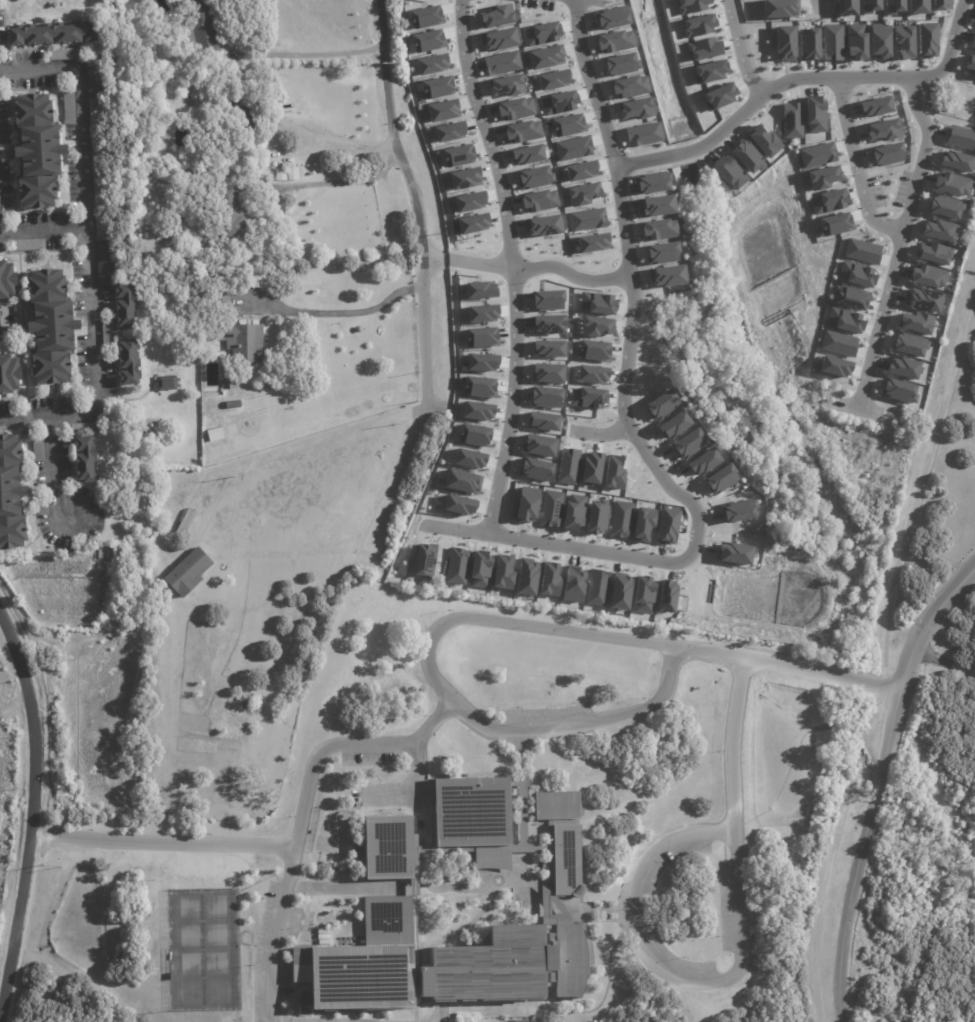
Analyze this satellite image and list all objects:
road: (819, 3)
building: (940, 4)
building: (690, 6)
building: (869, 6)
building: (893, 6)
building: (916, 6)
building: (844, 7)
building: (779, 8)
building: (497, 16)
building: (425, 17)
building: (610, 17)
building: (974, 18)
building: (698, 25)
building: (202, 27)
building: (541, 33)
building: (54, 36)
building: (498, 39)
building: (972, 39)
building: (879, 40)
building: (925, 40)
building: (427, 41)
building: (614, 41)
building: (903, 41)
building: (832, 42)
building: (855, 42)
building: (784, 43)
building: (807, 43)
building: (703, 49)
building: (974, 49)
road: (740, 50)
road: (315, 53)
building: (64, 54)
building: (545, 57)
building: (501, 63)
building: (431, 64)
building: (620, 64)
building: (970, 65)
building: (709, 71)
building: (94, 78)
building: (552, 79)
road: (850, 80)
building: (506, 85)
building: (628, 86)
building: (436, 87)
building: (169, 92)
building: (718, 96)
building: (558, 103)
building: (875, 106)
building: (68, 107)
building: (515, 109)
building: (635, 109)
building: (247, 110)
building: (442, 110)
building: (814, 114)
building: (791, 120)
building: (567, 125)
building: (883, 129)
building: (448, 131)
building: (522, 131)
building: (643, 134)
building: (960, 137)
building: (573, 148)
building: (38, 150)
road: (686, 152)
building: (527, 154)
building: (816, 154)
building: (886, 154)
building: (457, 155)
road: (642, 161)
building: (955, 161)
road: (856, 167)
building: (580, 170)
building: (172, 171)
building: (293, 174)
building: (280, 175)
building: (534, 177)
building: (822, 177)
building: (464, 178)
building: (651, 182)
building: (951, 184)
building: (582, 193)
building: (538, 200)
building: (469, 201)
building: (828, 201)
road: (415, 202)
building: (655, 206)
building: (944, 207)
building: (230, 214)
building: (586, 219)
building: (472, 223)
building: (834, 224)
building: (542, 225)
road: (43, 228)
building: (659, 229)
building: (939, 230)
building: (592, 243)
road: (900, 243)
building: (29, 244)
road: (86, 249)
building: (861, 251)
building: (661, 253)
building: (933, 253)
road: (432, 256)
road: (448, 259)
building: (105, 262)
road: (482, 265)
road: (512, 265)
building: (855, 274)
building: (666, 275)
building: (927, 276)
road: (571, 277)
building: (7, 279)
building: (257, 281)
building: (479, 290)
road: (631, 294)
building: (222, 296)
building: (850, 297)
building: (922, 298)
building: (596, 303)
building: (126, 305)
road: (342, 311)
building: (481, 313)
building: (844, 320)
building: (915, 322)
building: (51, 326)
building: (595, 326)
building: (107, 332)
building: (481, 337)
building: (838, 343)
building: (244, 344)
building: (909, 344)
building: (548, 348)
building: (592, 350)
building: (129, 361)
building: (481, 362)
building: (834, 366)
building: (902, 367)
building: (547, 373)
building: (591, 373)
building: (9, 374)
building: (167, 382)
building: (228, 384)
building: (479, 387)
building: (898, 391)
building: (545, 396)
building: (586, 397)
building: (661, 404)
building: (232, 405)
building: (477, 410)
building: (542, 421)
building: (673, 424)
building: (87, 428)
road: (601, 434)
building: (215, 435)
building: (473, 435)
building: (539, 445)
building: (38, 450)
building: (86, 458)
building: (468, 458)
building: (703, 461)
building: (567, 466)
building: (590, 468)
building: (613, 471)
building: (720, 479)
building: (462, 481)
building: (11, 493)
building: (526, 504)
building: (459, 505)
building: (549, 508)
building: (42, 509)
building: (738, 509)
building: (573, 512)
road: (51, 516)
building: (596, 517)
building: (620, 519)
building: (642, 523)
building: (666, 526)
road: (552, 544)
building: (732, 553)
building: (424, 561)
building: (456, 566)
building: (479, 569)
building: (188, 572)
building: (502, 572)
building: (526, 577)
building: (549, 579)
building: (573, 584)
building: (596, 587)
building: (666, 595)
road: (882, 651)
road: (905, 659)
road: (748, 661)
road: (943, 663)
road: (850, 681)
road: (435, 683)
road: (885, 688)
road: (14, 700)
parking lot: (545, 714)
road: (729, 738)
park: (912, 744)
parking lot: (366, 756)
road: (877, 785)
building: (517, 792)
road: (413, 797)
building: (554, 805)
road: (30, 810)
building: (469, 812)
building: (386, 847)
road: (285, 848)
building: (564, 860)
road: (60, 877)
road: (463, 887)
parking lot: (724, 906)
road: (850, 908)
road: (414, 910)
road: (271, 934)
park: (202, 949)
parking lot: (271, 956)
building: (361, 962)
building: (506, 965)
road: (672, 970)
road: (439, 1012)
road: (550, 1012)
building: (516, 1020)
road: (276, 1021)

